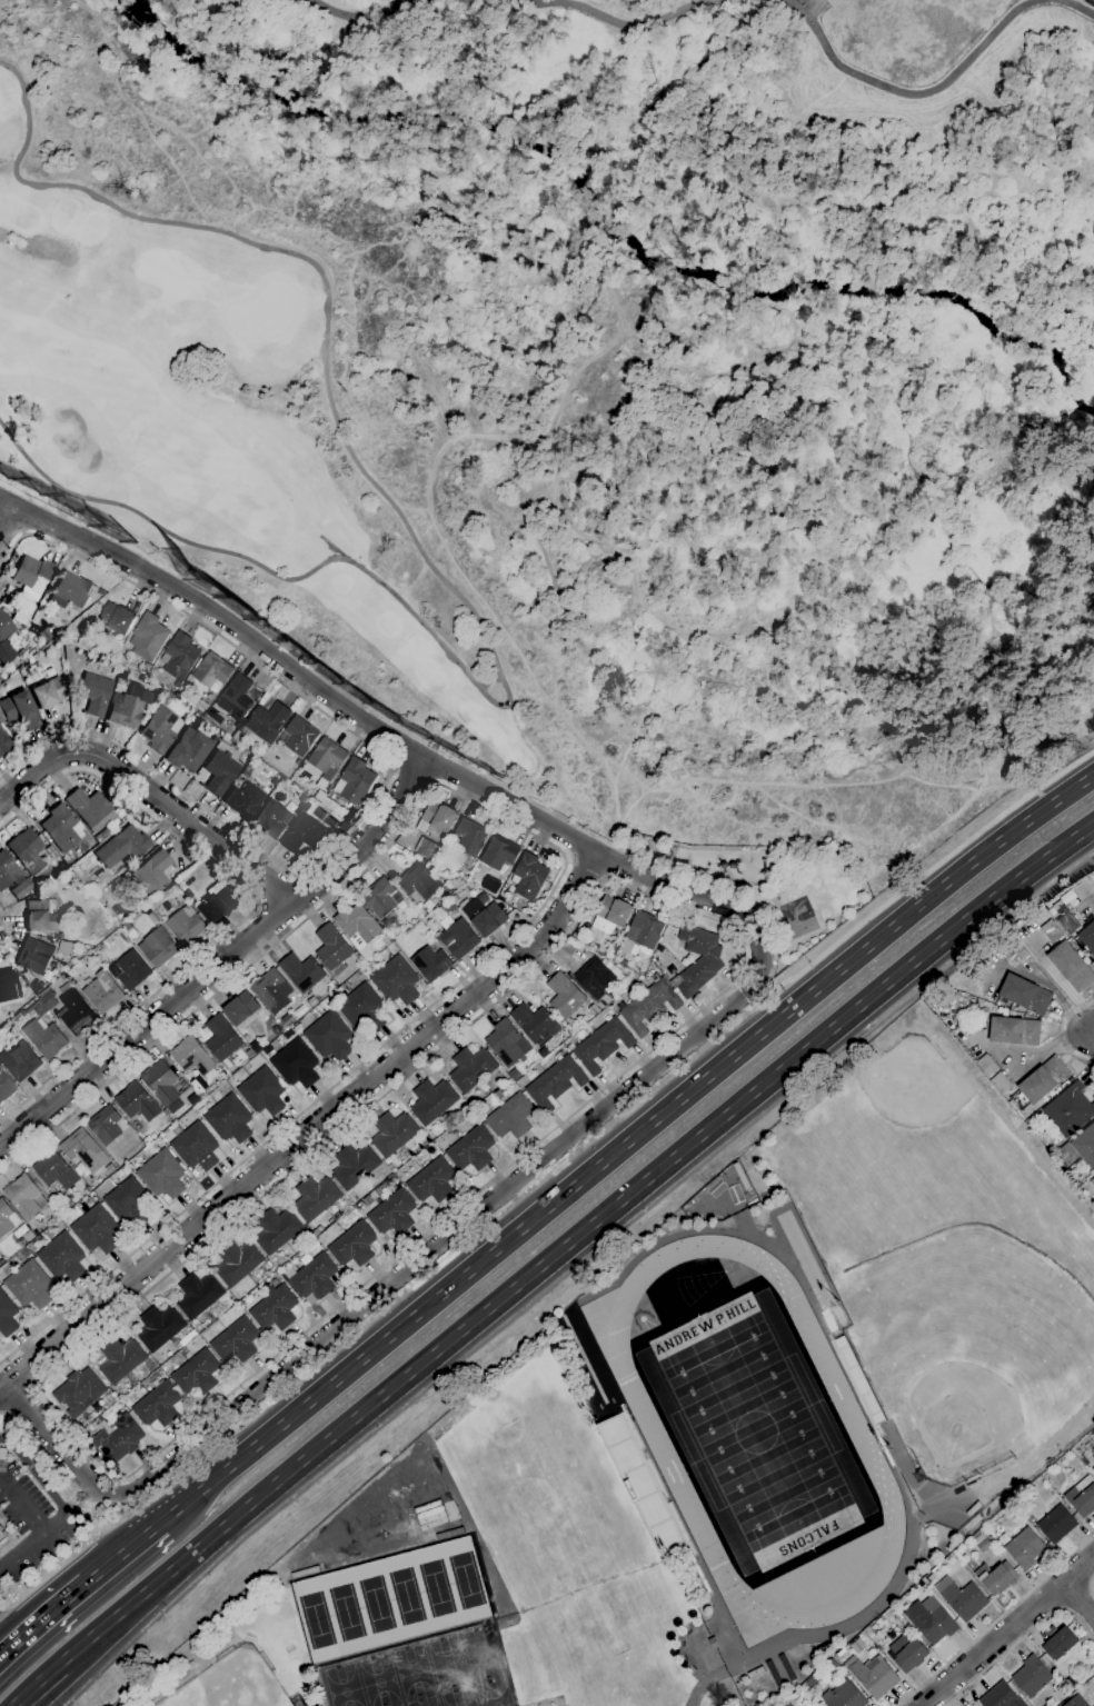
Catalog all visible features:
park: (1092, 1)
road: (519, 4)
park: (907, 33)
road: (938, 87)
river: (610, 222)
park: (263, 311)
park: (225, 449)
road: (8, 520)
road: (431, 568)
building: (32, 576)
building: (70, 590)
building: (101, 593)
building: (117, 619)
building: (4, 633)
building: (44, 635)
building: (148, 637)
building: (179, 656)
road: (259, 667)
building: (146, 668)
building: (212, 672)
building: (145, 679)
road: (488, 681)
building: (172, 689)
building: (48, 692)
building: (96, 694)
building: (236, 698)
building: (129, 706)
building: (201, 706)
building: (19, 710)
building: (195, 720)
building: (267, 721)
building: (161, 729)
building: (300, 736)
building: (4, 744)
building: (190, 749)
building: (327, 758)
road: (153, 770)
building: (220, 772)
road: (411, 772)
building: (239, 778)
building: (355, 782)
road: (151, 792)
building: (243, 799)
building: (90, 809)
building: (349, 815)
building: (438, 818)
building: (272, 819)
building: (60, 827)
building: (345, 827)
building: (308, 832)
building: (470, 837)
building: (121, 846)
building: (427, 849)
building: (27, 850)
building: (499, 852)
road: (1076, 866)
road: (584, 868)
road: (559, 869)
building: (152, 871)
building: (529, 876)
building: (12, 877)
building: (419, 881)
road: (914, 881)
building: (491, 885)
park: (767, 886)
building: (381, 898)
building: (510, 898)
road: (1092, 898)
building: (99, 900)
building: (216, 904)
building: (447, 907)
road: (251, 909)
building: (149, 914)
building: (455, 914)
building: (611, 915)
building: (42, 916)
park: (796, 917)
building: (489, 920)
road: (3, 924)
building: (386, 924)
building: (1068, 924)
building: (186, 926)
building: (359, 929)
building: (1052, 931)
building: (643, 932)
building: (59, 936)
building: (459, 939)
building: (386, 940)
building: (1087, 940)
building: (152, 945)
building: (102, 948)
building: (334, 950)
building: (611, 950)
building: (33, 956)
building: (1017, 956)
road: (220, 961)
building: (621, 962)
building: (708, 962)
building: (431, 964)
road: (742, 964)
building: (1071, 967)
building: (130, 970)
building: (301, 972)
building: (595, 978)
building: (396, 981)
building: (8, 987)
building: (272, 990)
building: (102, 992)
building: (1025, 995)
building: (565, 996)
building: (312, 1002)
building: (43, 1004)
road: (735, 1004)
building: (648, 1007)
building: (241, 1009)
building: (364, 1009)
building: (78, 1014)
building: (535, 1025)
building: (1014, 1031)
road: (1088, 1031)
road: (1060, 1034)
building: (329, 1037)
building: (46, 1039)
building: (222, 1040)
building: (507, 1044)
building: (601, 1045)
building: (544, 1052)
building: (192, 1057)
building: (20, 1061)
building: (297, 1064)
building: (987, 1065)
building: (0, 1068)
building: (471, 1069)
building: (515, 1075)
building: (1044, 1080)
building: (1001, 1083)
building: (555, 1084)
building: (195, 1085)
building: (4, 1086)
building: (162, 1086)
park: (912, 1090)
building: (262, 1093)
building: (193, 1100)
building: (432, 1101)
building: (138, 1104)
building: (1070, 1110)
building: (511, 1117)
building: (229, 1119)
building: (1028, 1125)
building: (106, 1126)
road: (308, 1133)
building: (394, 1134)
building: (147, 1140)
building: (1044, 1144)
road: (625, 1145)
building: (196, 1147)
building: (1081, 1147)
building: (471, 1149)
building: (84, 1150)
building: (355, 1166)
building: (1062, 1166)
building: (56, 1170)
building: (162, 1175)
building: (740, 1176)
building: (432, 1181)
building: (1090, 1181)
road: (715, 1187)
building: (23, 1197)
building: (316, 1198)
building: (69, 1203)
building: (130, 1203)
building: (60, 1213)
building: (392, 1213)
building: (7, 1219)
building: (96, 1230)
building: (277, 1230)
building: (317, 1230)
road: (715, 1231)
building: (354, 1245)
building: (62, 1258)
road: (548, 1259)
track: (806, 1261)
building: (237, 1263)
building: (315, 1277)
road: (555, 1283)
building: (29, 1286)
building: (198, 1295)
building: (276, 1309)
building: (7, 1316)
building: (159, 1328)
building: (186, 1340)
building: (236, 1341)
building: (120, 1360)
building: (197, 1374)
building: (858, 1378)
building: (79, 1393)
building: (158, 1406)
park: (959, 1417)
track: (650, 1428)
park: (755, 1433)
building: (119, 1439)
building: (1087, 1445)
building: (1073, 1449)
road: (42, 1450)
building: (1093, 1470)
road: (34, 1475)
building: (643, 1485)
building: (1082, 1497)
road: (22, 1506)
building: (974, 1509)
building: (431, 1516)
building: (1056, 1525)
park: (565, 1536)
building: (2, 1537)
road: (33, 1543)
building: (979, 1543)
building: (705, 1544)
building: (1024, 1549)
road: (123, 1553)
building: (972, 1566)
building: (306, 1573)
building: (996, 1578)
road: (1092, 1588)
park: (390, 1600)
building: (964, 1600)
road: (1081, 1602)
road: (41, 1620)
building: (931, 1620)
road: (997, 1620)
building: (867, 1630)
road: (1008, 1632)
road: (8, 1633)
road: (1018, 1642)
building: (1058, 1643)
building: (714, 1644)
building: (907, 1654)
park: (484, 1656)
park: (449, 1665)
park: (414, 1674)
building: (773, 1674)
building: (1031, 1676)
building: (874, 1677)
park: (380, 1680)
park: (230, 1683)
building: (812, 1684)
park: (345, 1686)
park: (494, 1694)
road: (694, 1696)
park: (458, 1697)
building: (844, 1697)
building: (1001, 1697)
park: (424, 1700)
building: (1076, 1702)
park: (397, 1704)
building: (785, 1705)

